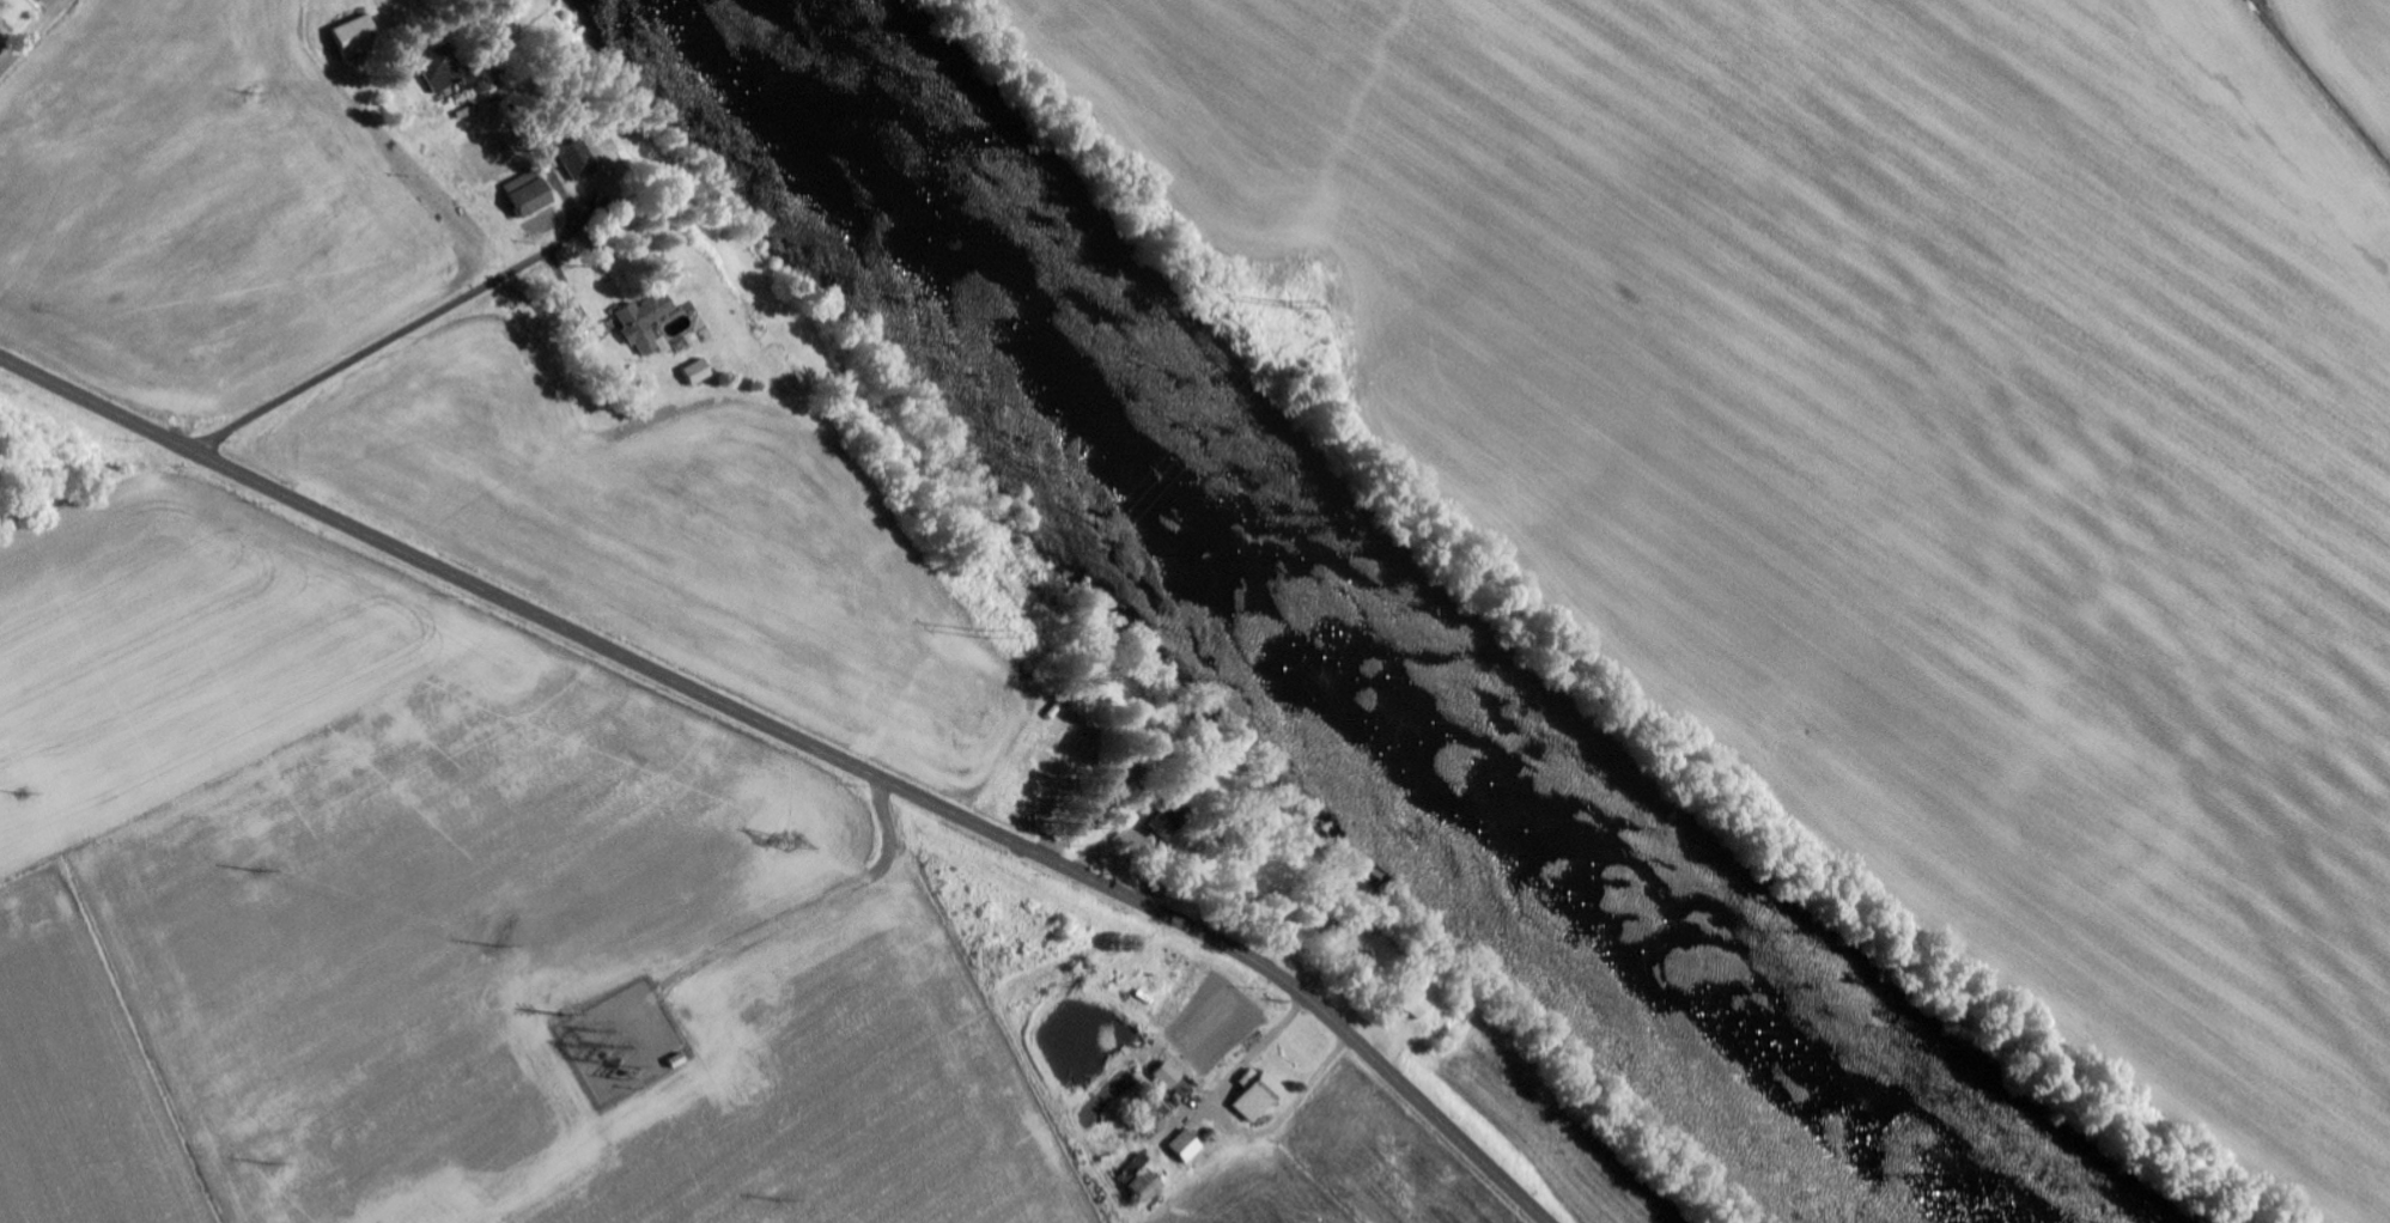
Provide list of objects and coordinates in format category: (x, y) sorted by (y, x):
building: (14, 1)
road: (31, 34)
building: (358, 35)
building: (443, 66)
road: (533, 142)
building: (576, 152)
building: (530, 193)
building: (647, 322)
road: (379, 340)
building: (700, 371)
road: (614, 515)
road: (785, 607)
river: (1314, 629)
road: (804, 742)
building: (1172, 817)
building: (1418, 1005)
building: (1175, 1081)
building: (1260, 1094)
building: (1161, 1108)
building: (1188, 1145)
building: (1144, 1179)

